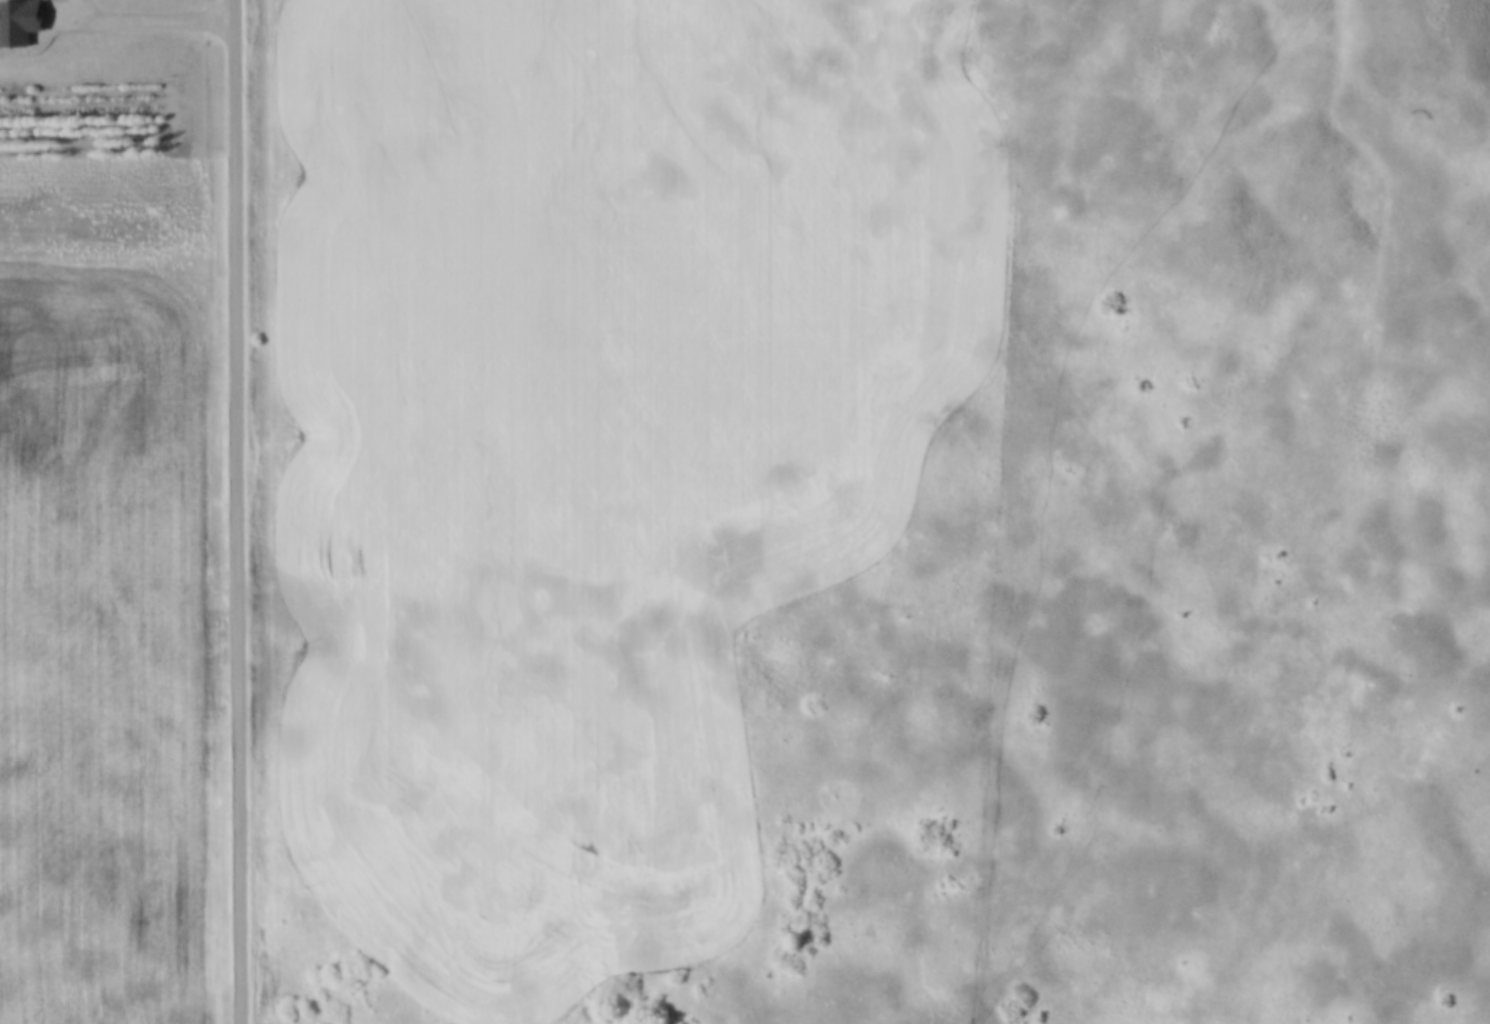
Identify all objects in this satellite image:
building: (19, 21)
road: (241, 512)

